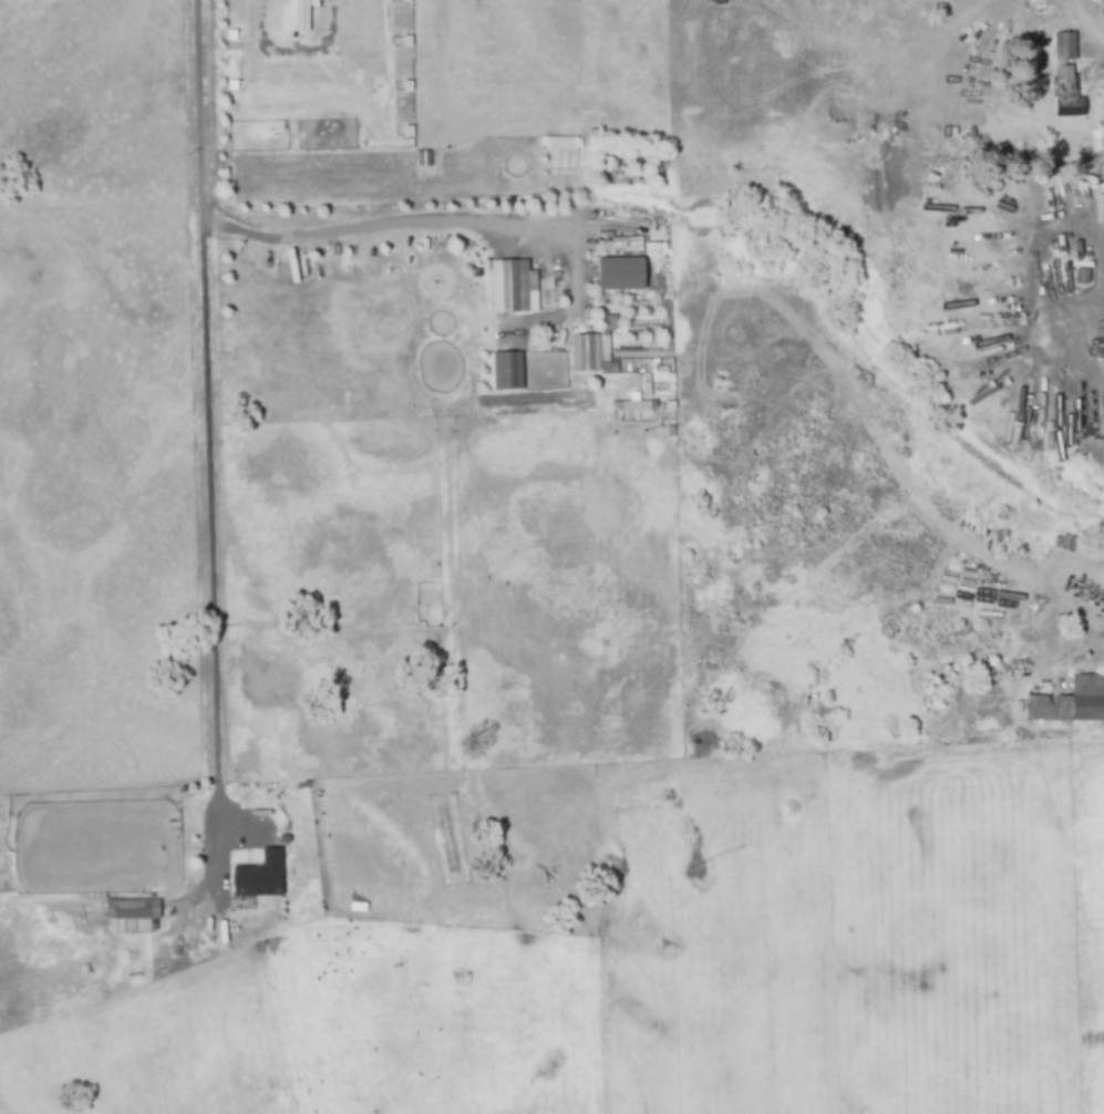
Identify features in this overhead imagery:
road: (1086, 12)
building: (293, 16)
building: (811, 21)
building: (1063, 48)
building: (1064, 95)
road: (910, 102)
building: (560, 142)
building: (411, 144)
building: (424, 157)
road: (406, 220)
building: (626, 244)
building: (656, 250)
building: (619, 272)
building: (1082, 278)
building: (512, 286)
building: (592, 349)
building: (505, 370)
building: (629, 408)
road: (209, 424)
building: (1029, 549)
building: (1070, 703)
building: (262, 874)
building: (134, 907)

